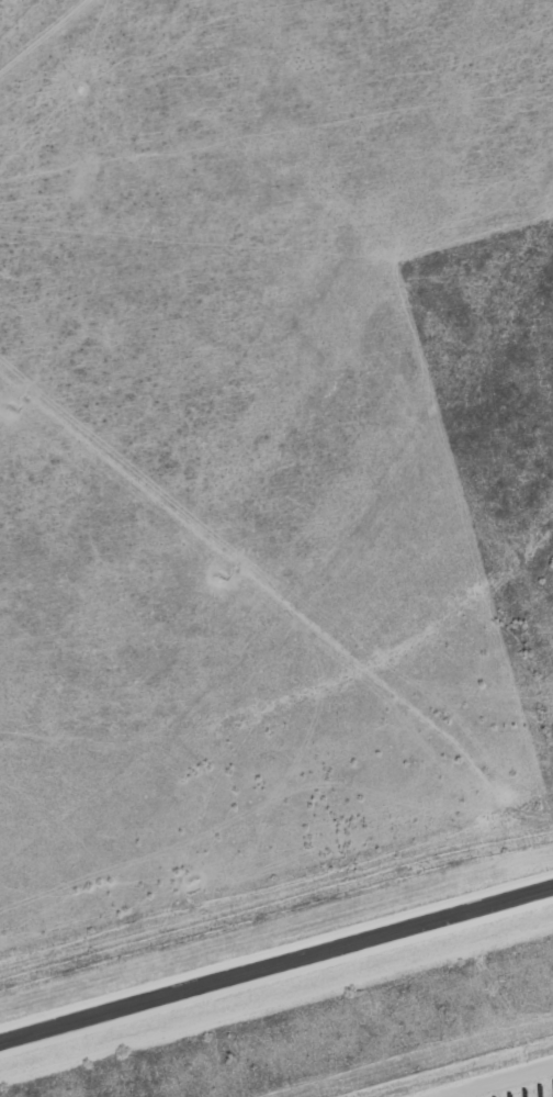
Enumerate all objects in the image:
road: (276, 962)
solar farm: (495, 1081)

